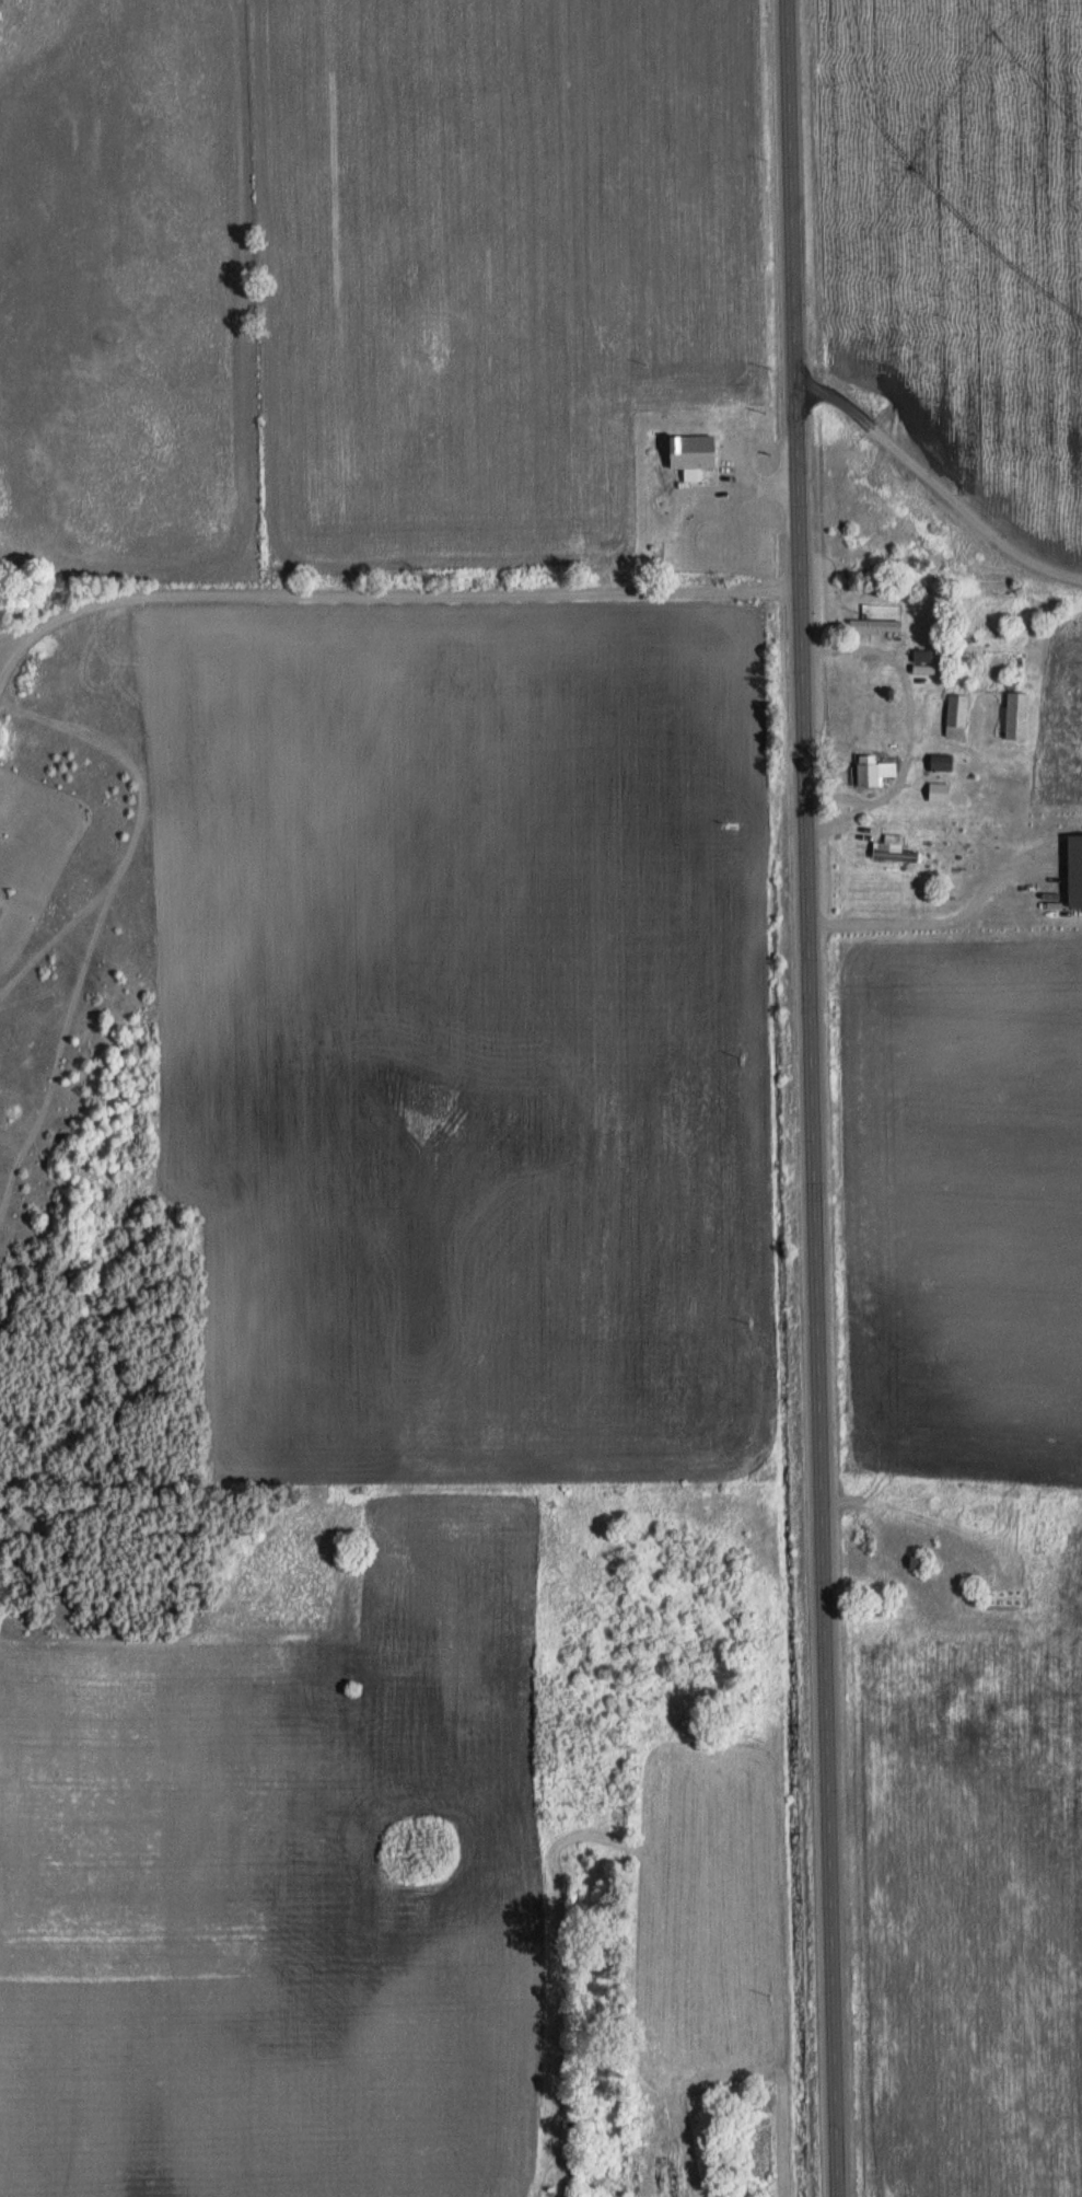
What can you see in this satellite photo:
road: (391, 593)
building: (874, 625)
building: (921, 655)
building: (956, 715)
building: (1014, 715)
road: (909, 724)
building: (941, 762)
building: (873, 770)
building: (938, 791)
building: (892, 848)
road: (856, 854)
building: (1074, 871)
road: (935, 920)
road: (812, 1098)

